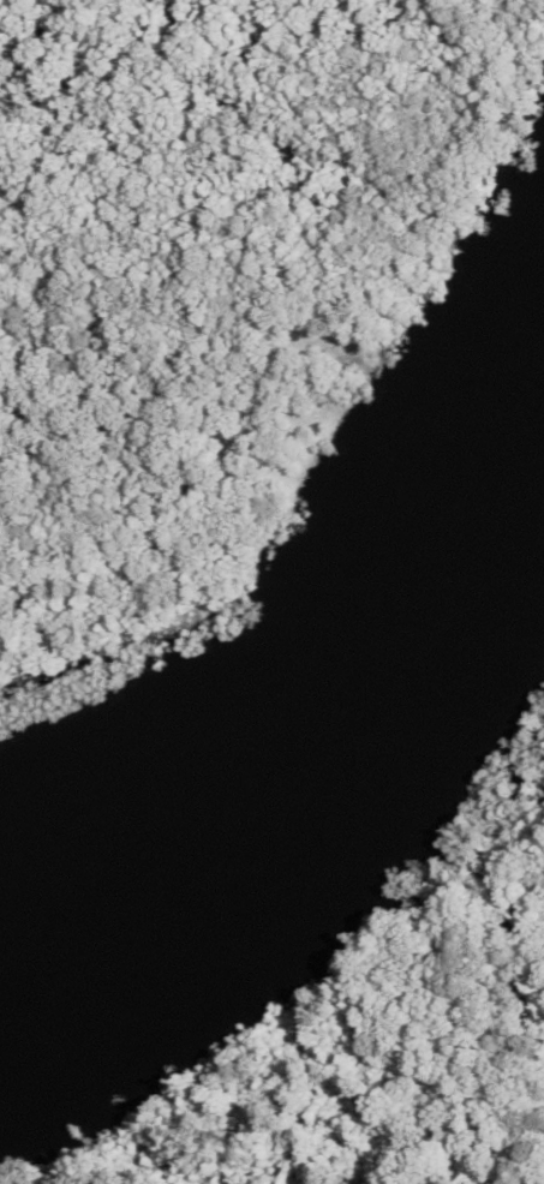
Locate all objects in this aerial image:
river: (336, 717)

